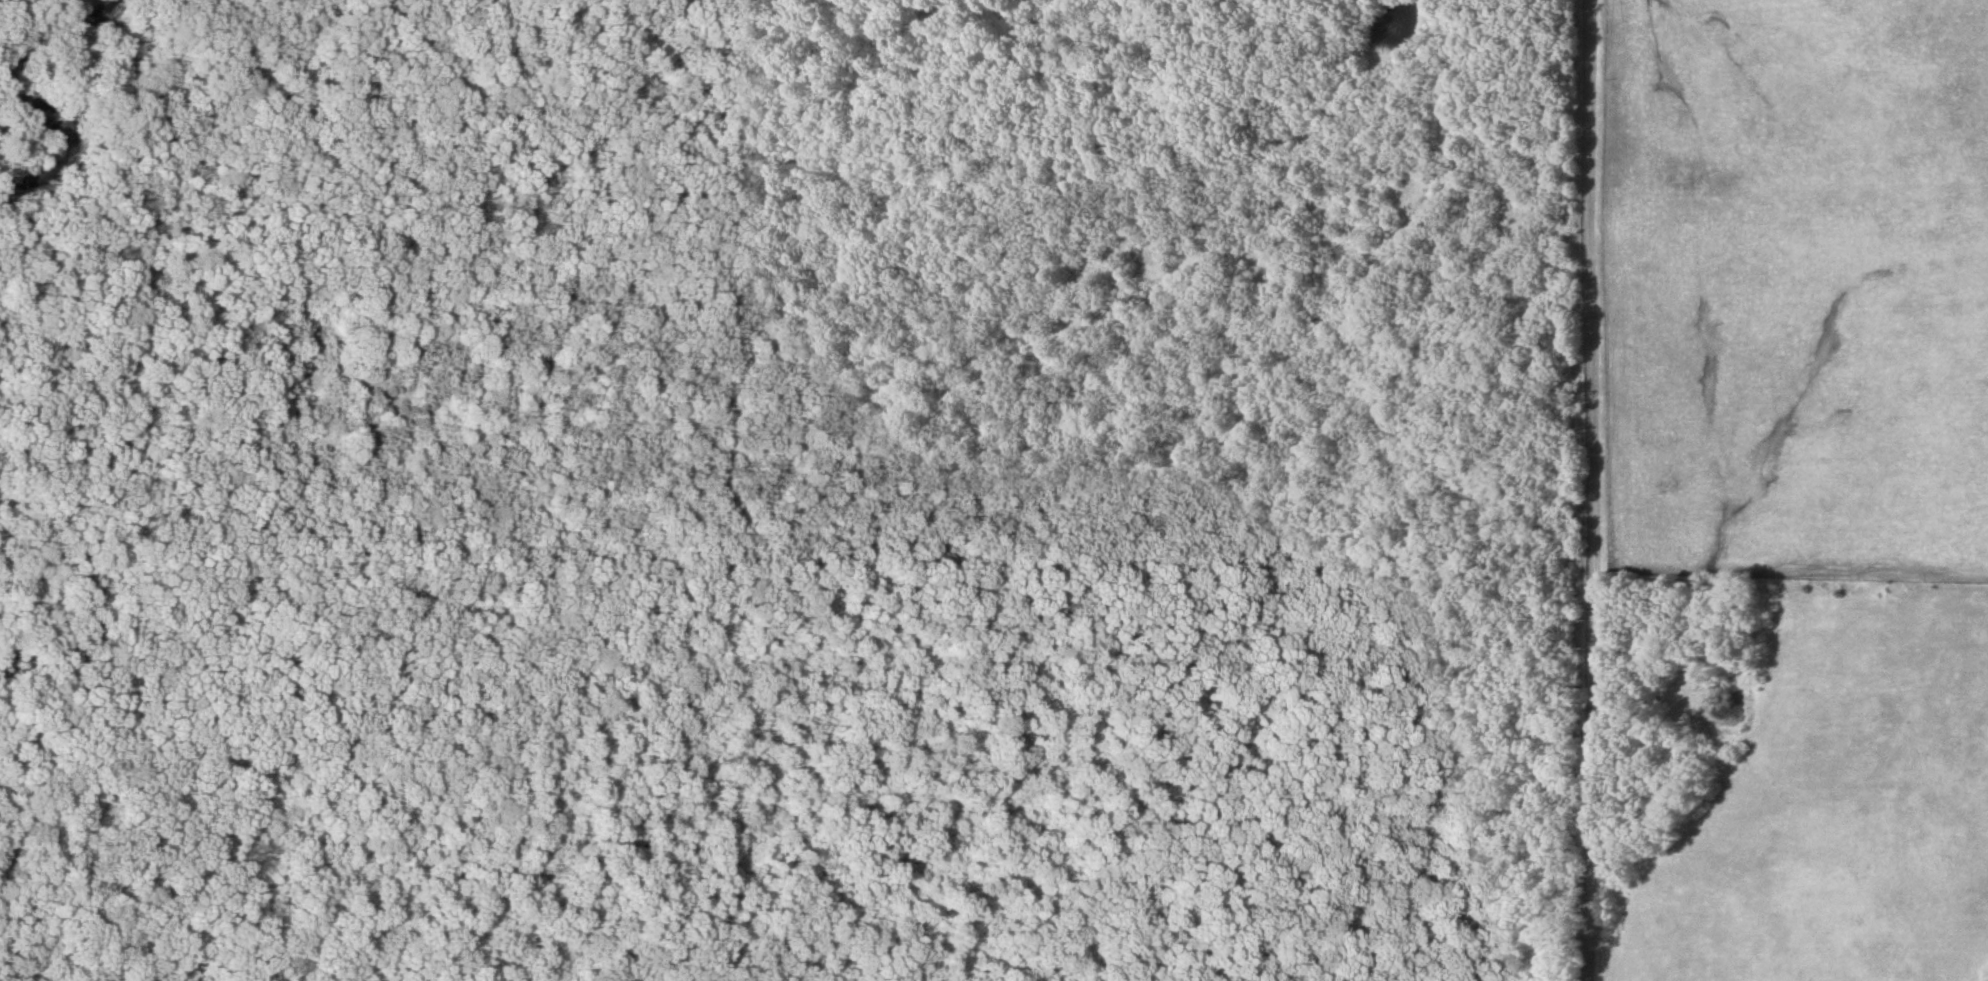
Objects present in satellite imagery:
road: (1592, 490)

